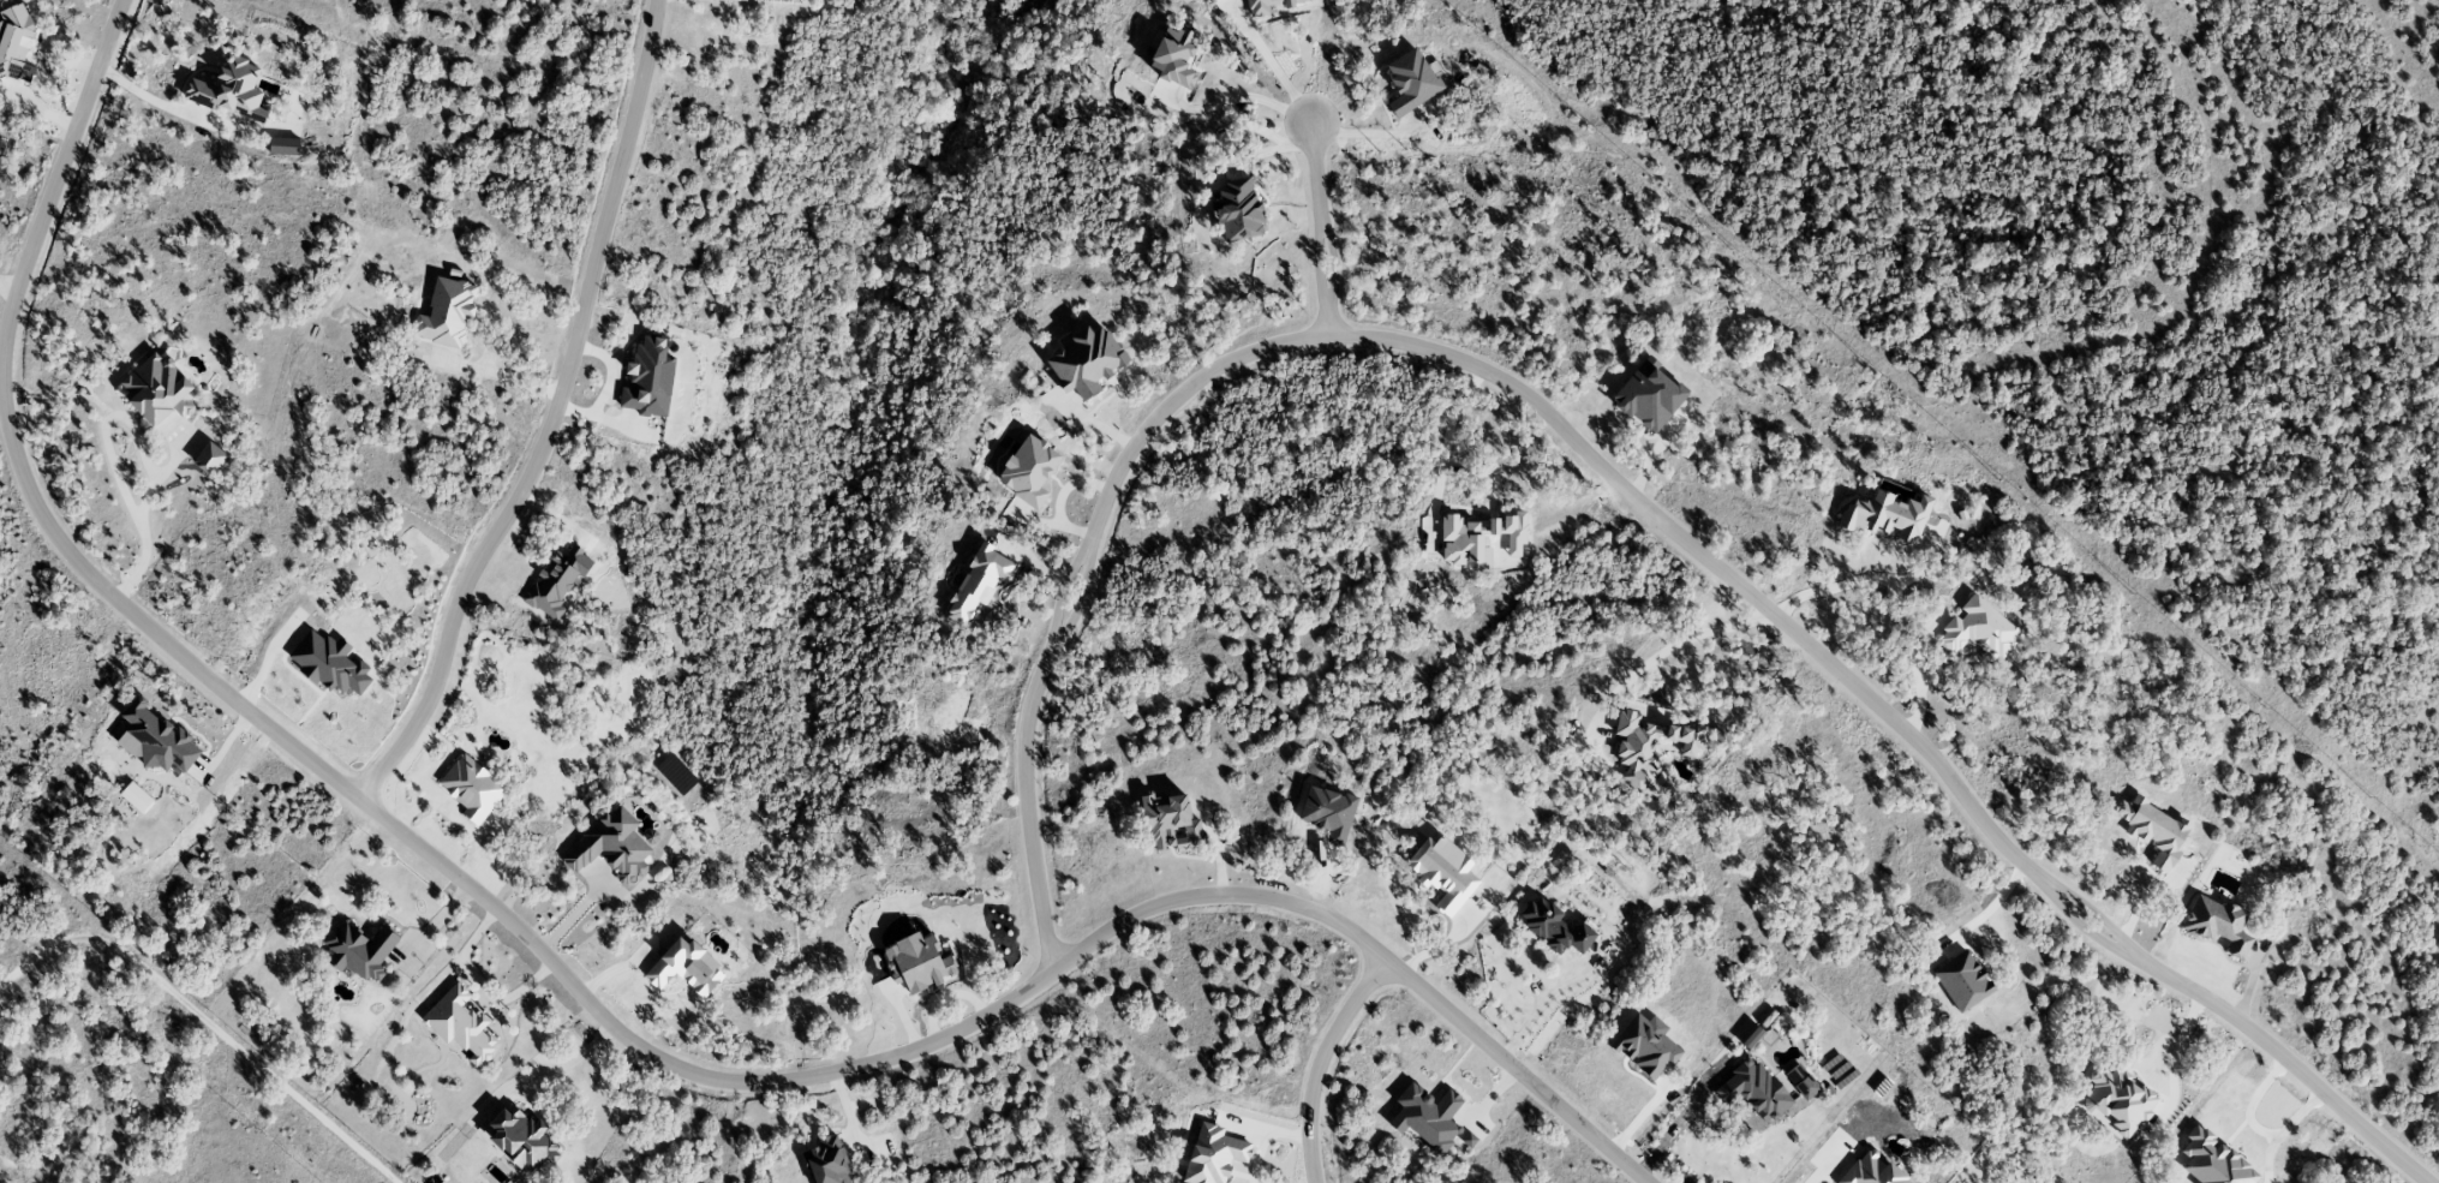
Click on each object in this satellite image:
building: (1267, 5)
building: (16, 43)
building: (1174, 56)
road: (1269, 62)
building: (1410, 80)
road: (46, 84)
building: (229, 89)
road: (148, 97)
road: (1232, 101)
building: (283, 145)
road: (1315, 171)
building: (1237, 210)
road: (1333, 261)
road: (1315, 263)
road: (8, 283)
building: (446, 312)
road: (1327, 319)
building: (1084, 362)
road: (0, 370)
road: (497, 375)
building: (648, 377)
building: (157, 388)
building: (1648, 395)
road: (550, 418)
road: (108, 452)
road: (1455, 453)
road: (1586, 455)
building: (209, 458)
road: (16, 462)
building: (1028, 470)
building: (1889, 514)
building: (557, 580)
building: (978, 581)
road: (1863, 581)
road: (1058, 590)
road: (1081, 598)
building: (1978, 627)
road: (1674, 646)
building: (329, 663)
road: (1915, 669)
building: (155, 739)
building: (1651, 740)
building: (472, 787)
road: (1027, 809)
building: (1171, 821)
building: (2153, 829)
building: (611, 847)
building: (1442, 872)
road: (1986, 912)
road: (2097, 915)
building: (2217, 924)
building: (1554, 926)
road: (2085, 931)
building: (360, 949)
building: (916, 962)
building: (685, 967)
building: (1961, 980)
road: (426, 986)
road: (501, 998)
road: (1542, 999)
road: (1008, 1000)
road: (205, 1022)
building: (460, 1023)
building: (1751, 1036)
building: (1645, 1045)
road: (2178, 1048)
road: (1317, 1060)
road: (2288, 1062)
road: (557, 1065)
building: (1801, 1081)
building: (1752, 1089)
building: (2118, 1099)
road: (2254, 1101)
building: (1427, 1116)
road: (1680, 1119)
road: (2283, 1131)
building: (522, 1139)
road: (1263, 1139)
building: (1469, 1140)
building: (1213, 1154)
building: (826, 1161)
road: (1825, 1167)

